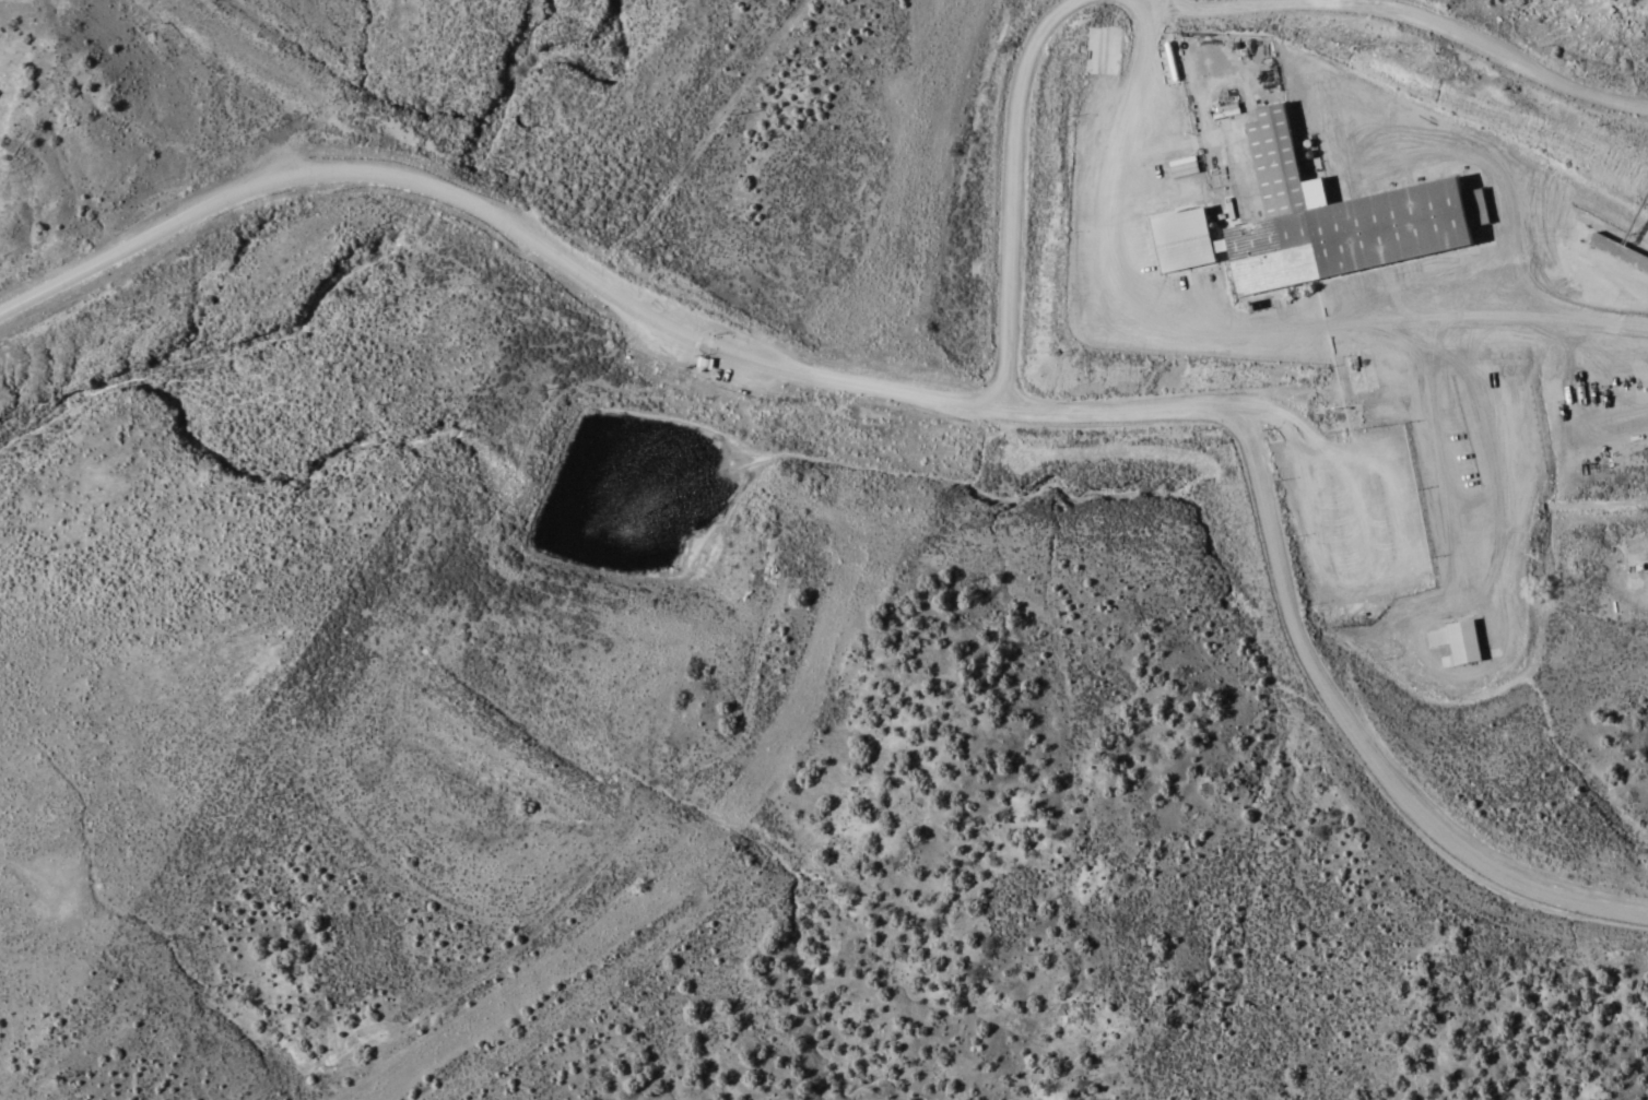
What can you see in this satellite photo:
building: (1321, 221)
road: (137, 240)
road: (576, 265)
road: (1308, 407)
building: (1460, 640)
railway: (826, 649)
road: (1357, 734)

